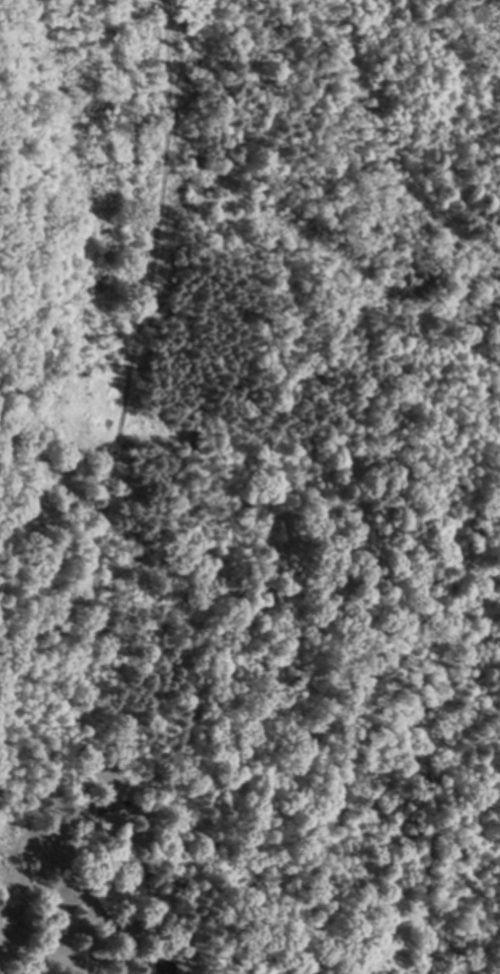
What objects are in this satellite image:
building: (112, 809)
building: (163, 966)

